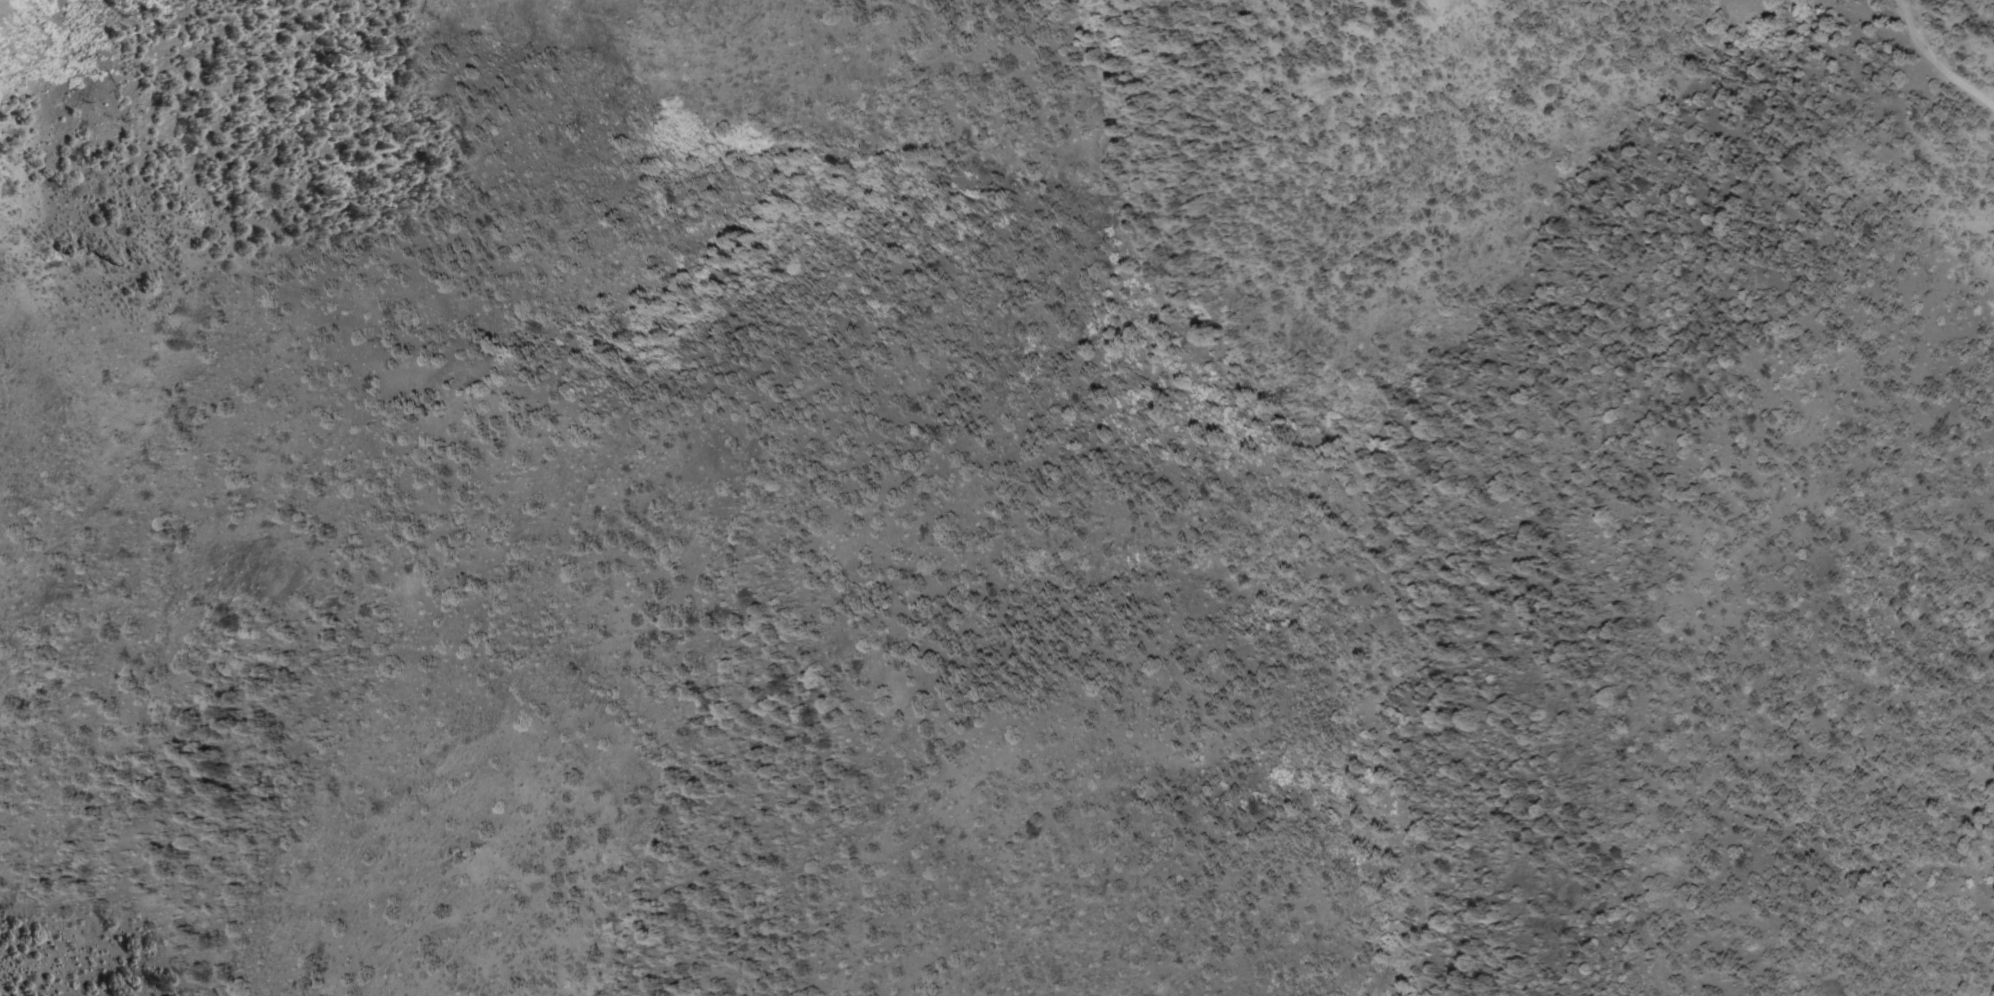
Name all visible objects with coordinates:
road: (1933, 66)
mineshaft: (1818, 992)

